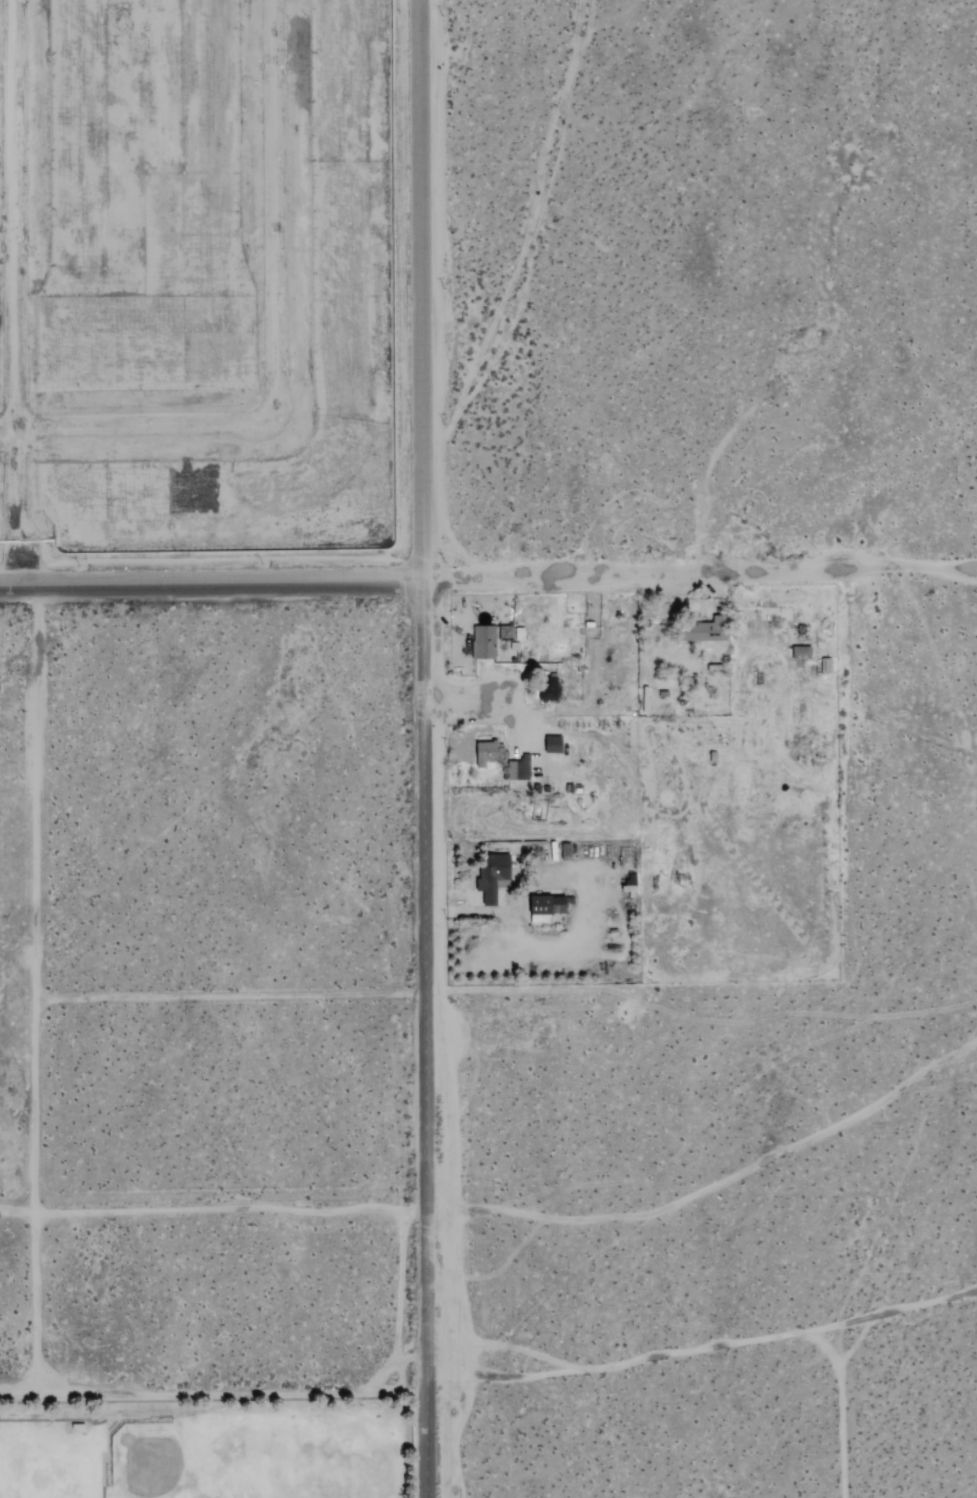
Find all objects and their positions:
road: (7, 293)
road: (273, 345)
road: (4, 431)
road: (698, 576)
road: (210, 584)
building: (506, 633)
building: (484, 643)
building: (826, 666)
building: (548, 696)
building: (554, 745)
road: (420, 749)
building: (489, 754)
building: (519, 770)
building: (494, 878)
building: (547, 908)
road: (32, 988)
road: (226, 991)
road: (212, 1391)
park: (214, 1447)

